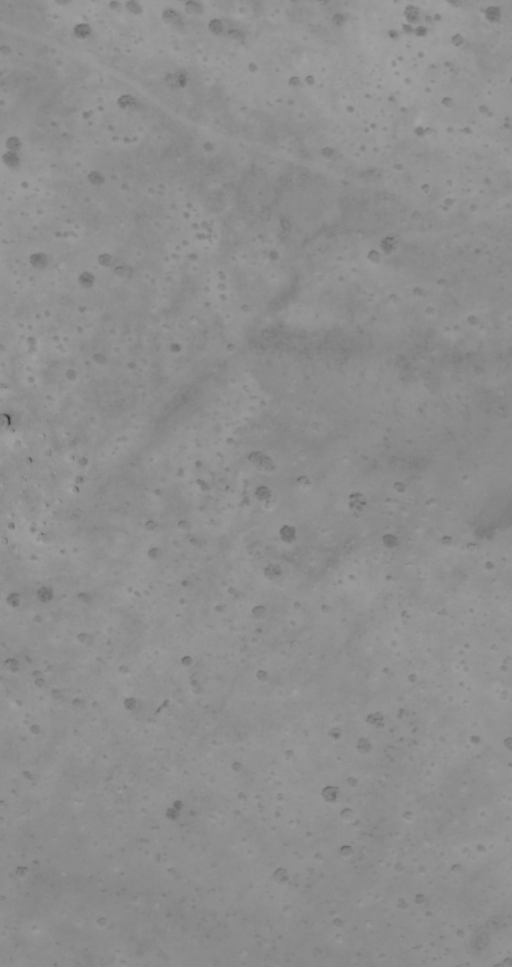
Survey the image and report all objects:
road: (474, 950)

